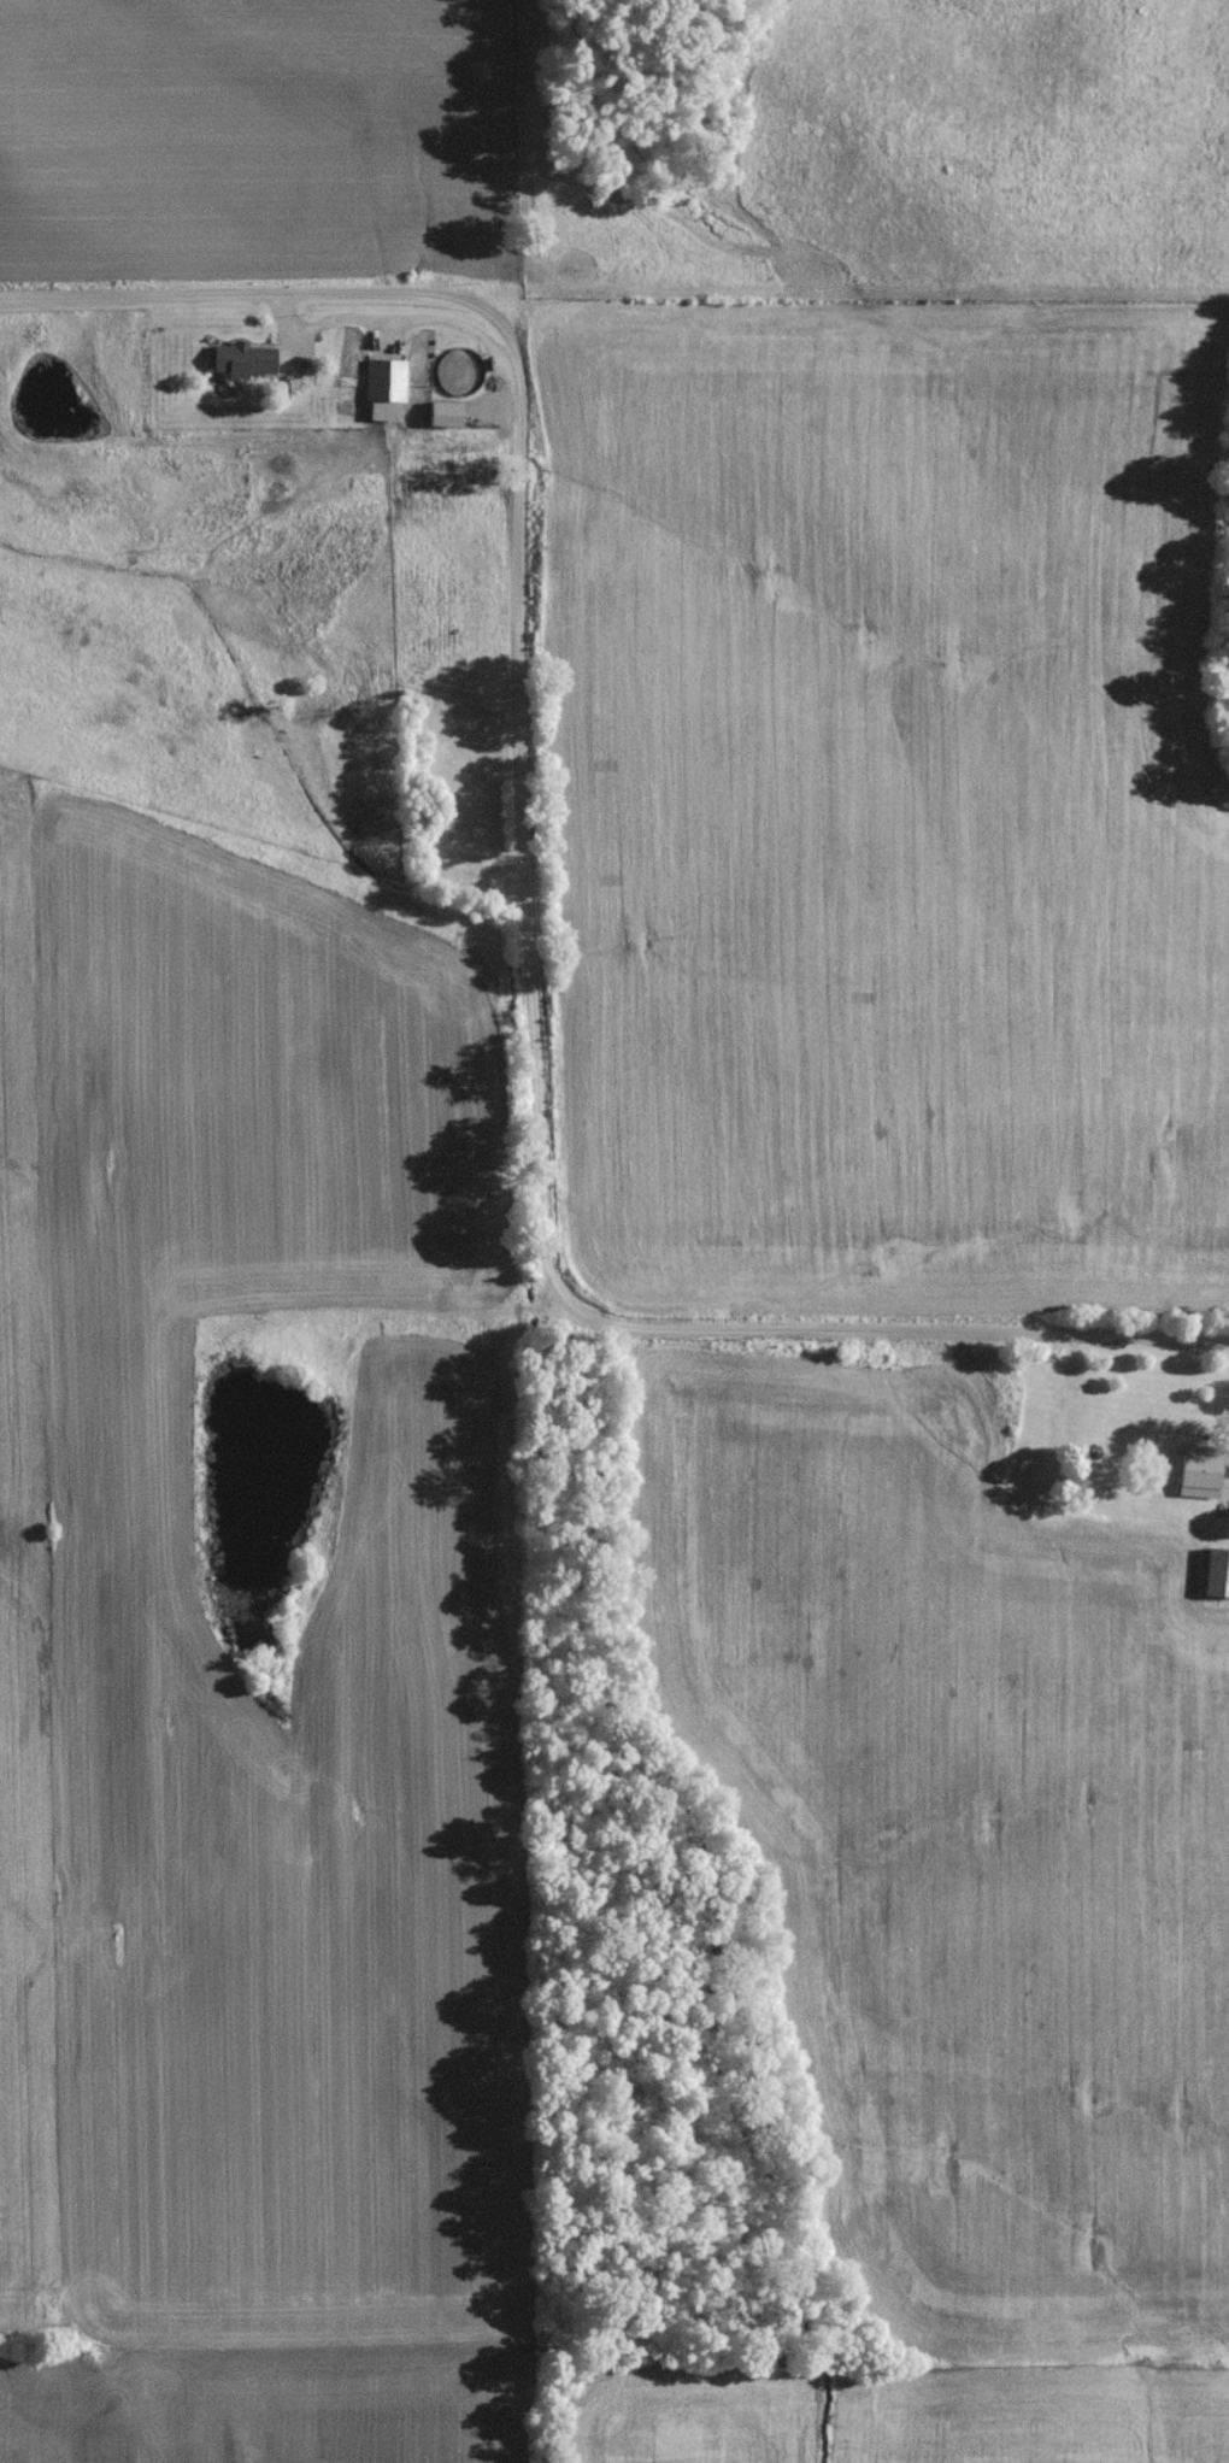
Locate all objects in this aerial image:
road: (275, 277)
building: (240, 366)
building: (378, 396)
road: (519, 796)
road: (860, 1333)
building: (1192, 1482)
building: (1213, 1579)

